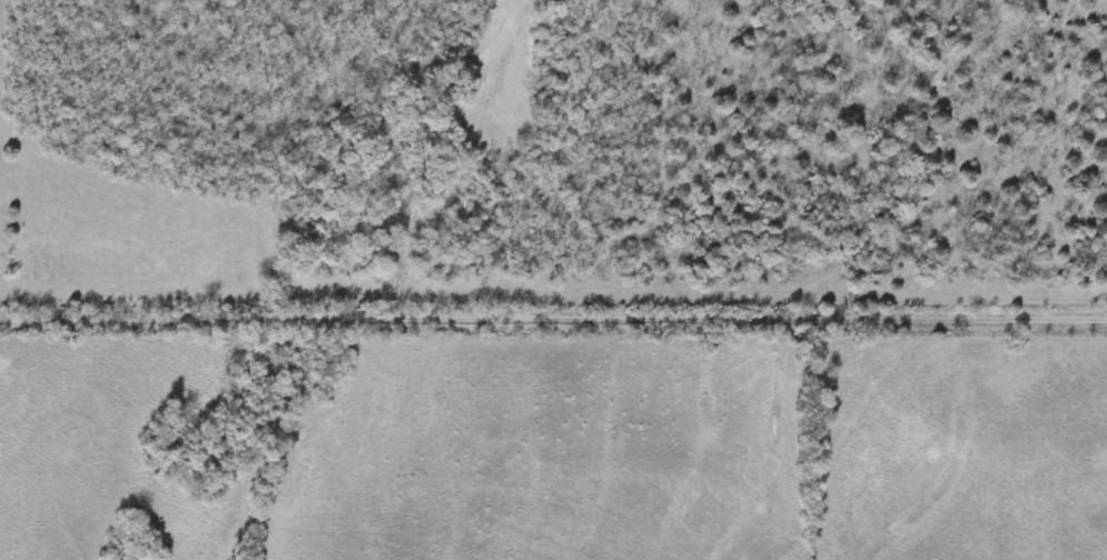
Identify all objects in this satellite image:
road: (553, 320)

